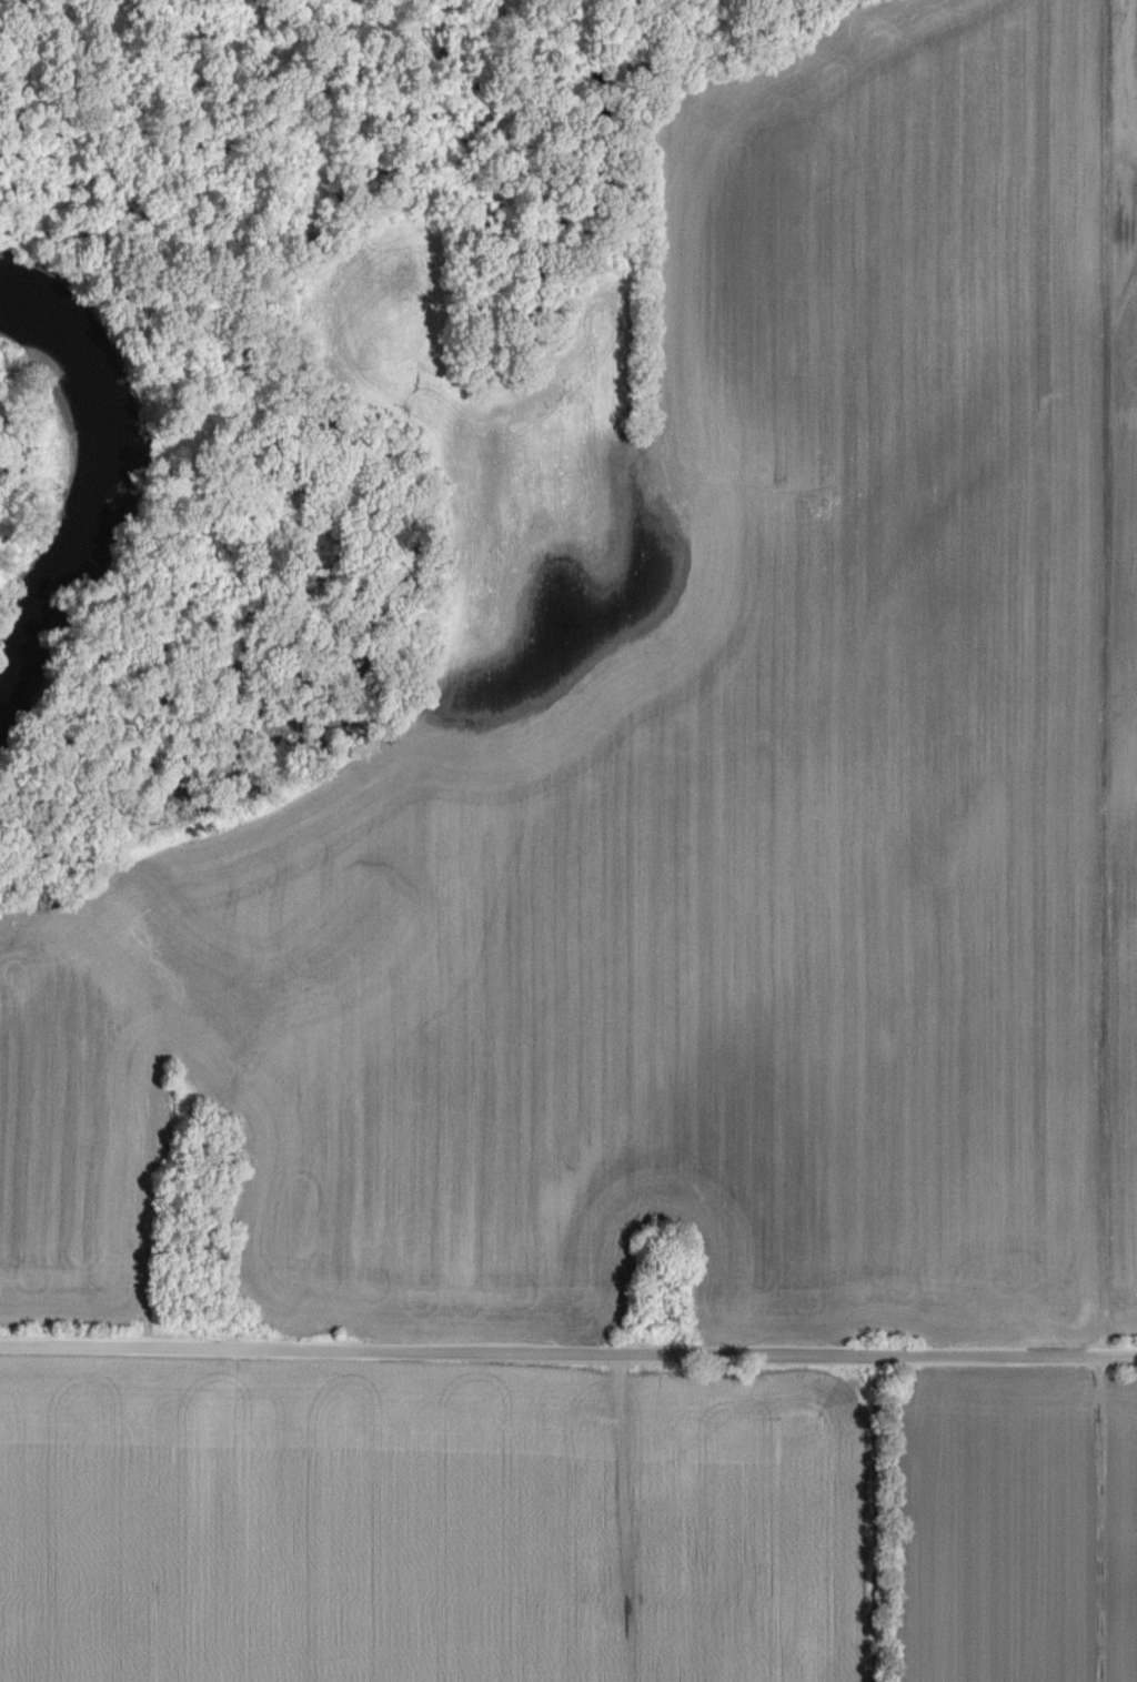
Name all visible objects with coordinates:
river: (94, 489)
road: (1107, 678)
road: (149, 1329)
road: (567, 1353)
road: (625, 1518)
road: (1101, 1520)

